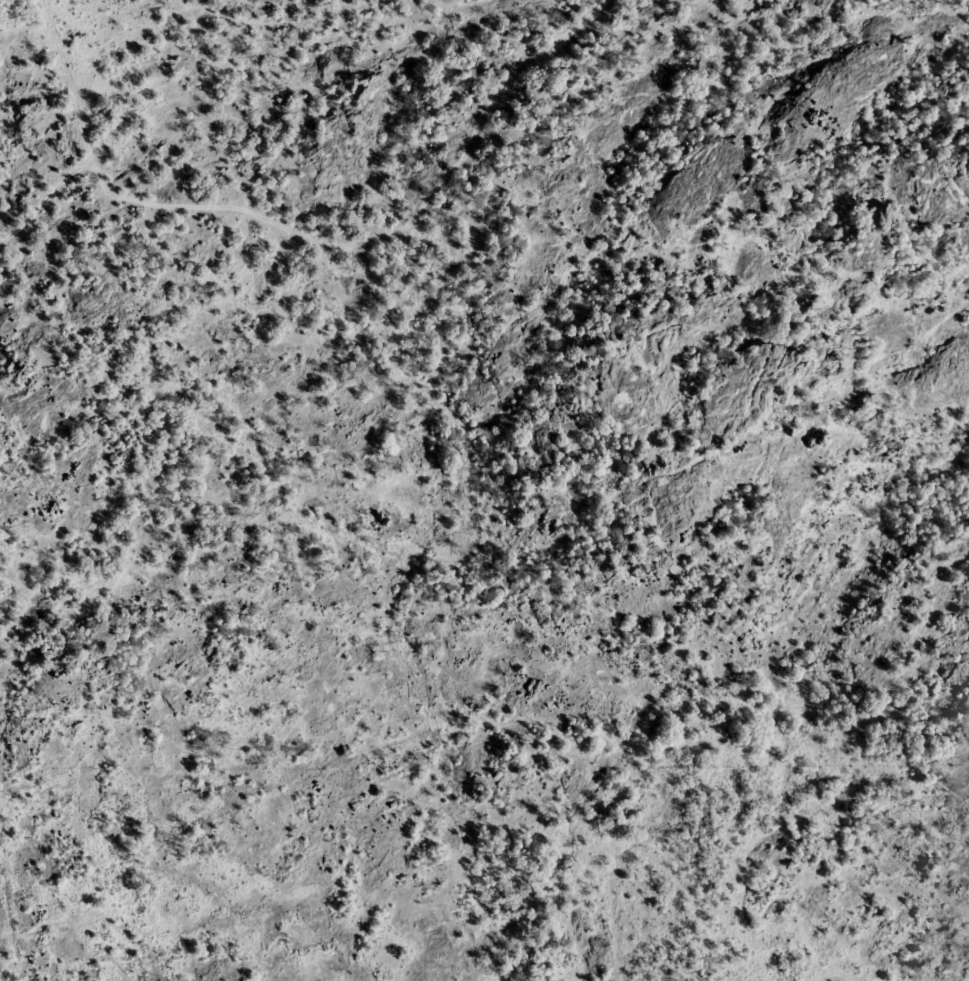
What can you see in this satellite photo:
road: (308, 239)
road: (832, 972)

